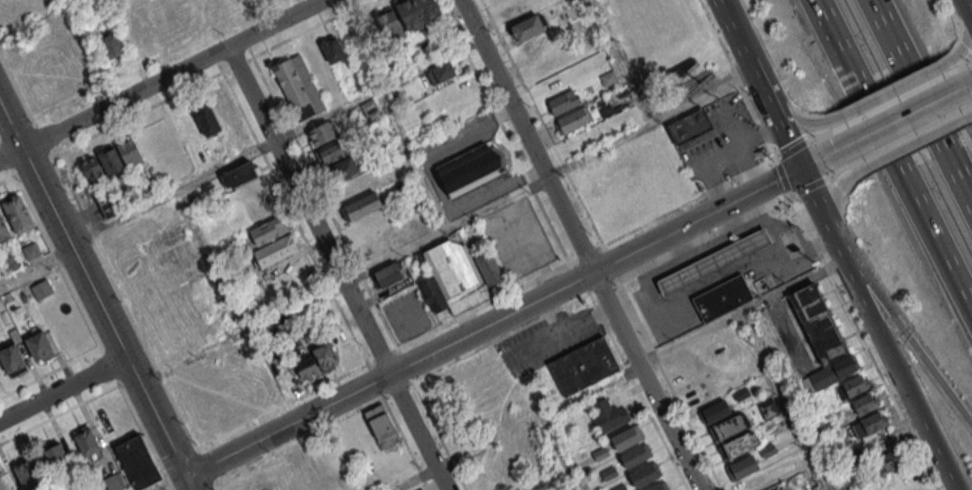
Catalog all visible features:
building: (231, 0)
road: (719, 3)
road: (967, 9)
building: (416, 12)
road: (40, 20)
building: (389, 25)
building: (527, 28)
road: (968, 36)
building: (112, 45)
building: (332, 50)
road: (621, 62)
building: (443, 70)
building: (607, 77)
road: (847, 78)
road: (161, 80)
building: (290, 84)
road: (758, 84)
road: (966, 84)
road: (892, 89)
road: (17, 92)
building: (564, 101)
road: (917, 101)
building: (220, 102)
building: (370, 109)
road: (793, 118)
building: (207, 119)
building: (575, 119)
road: (896, 119)
building: (689, 127)
building: (323, 133)
parking lot: (457, 139)
road: (41, 141)
road: (273, 142)
parking lot: (721, 145)
road: (906, 145)
building: (129, 151)
building: (329, 152)
road: (722, 152)
building: (111, 159)
road: (413, 159)
road: (815, 160)
building: (343, 168)
traffic signals: (800, 168)
building: (470, 169)
building: (93, 171)
building: (239, 174)
road: (6, 178)
building: (400, 188)
building: (108, 202)
building: (363, 205)
road: (833, 206)
road: (969, 207)
building: (16, 213)
road: (446, 229)
building: (3, 230)
building: (267, 230)
parking lot: (517, 240)
road: (929, 241)
road: (577, 245)
building: (30, 251)
building: (273, 254)
road: (56, 260)
building: (713, 261)
building: (8, 262)
road: (208, 262)
road: (335, 268)
building: (490, 268)
road: (35, 270)
building: (456, 274)
building: (388, 275)
building: (432, 295)
building: (7, 297)
building: (722, 298)
road: (95, 299)
road: (122, 305)
road: (491, 322)
building: (817, 323)
road: (565, 326)
road: (873, 330)
parking lot: (545, 340)
road: (536, 342)
road: (909, 343)
road: (677, 344)
building: (775, 345)
building: (39, 346)
building: (324, 351)
building: (11, 360)
road: (109, 365)
building: (580, 366)
building: (843, 366)
building: (307, 368)
road: (50, 372)
building: (287, 376)
building: (816, 381)
building: (853, 385)
road: (61, 387)
building: (740, 393)
building: (864, 404)
building: (769, 408)
building: (714, 412)
road: (59, 413)
building: (607, 416)
building: (868, 424)
building: (380, 426)
building: (730, 426)
road: (145, 436)
building: (626, 438)
building: (86, 441)
building: (740, 445)
building: (767, 449)
road: (560, 453)
building: (600, 453)
building: (634, 455)
building: (55, 457)
building: (891, 459)
building: (134, 461)
building: (742, 466)
road: (205, 468)
building: (609, 473)
building: (27, 474)
building: (644, 474)
road: (414, 479)
building: (114, 482)
crop: (5, 483)
road: (170, 483)
building: (1, 486)
road: (215, 487)
building: (619, 487)
building: (657, 487)
building: (815, 489)

